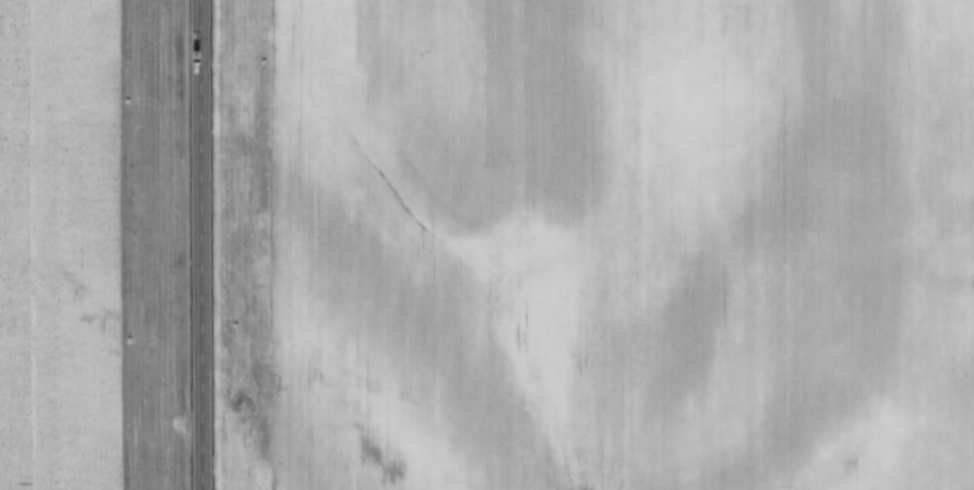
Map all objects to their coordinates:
road: (201, 244)

